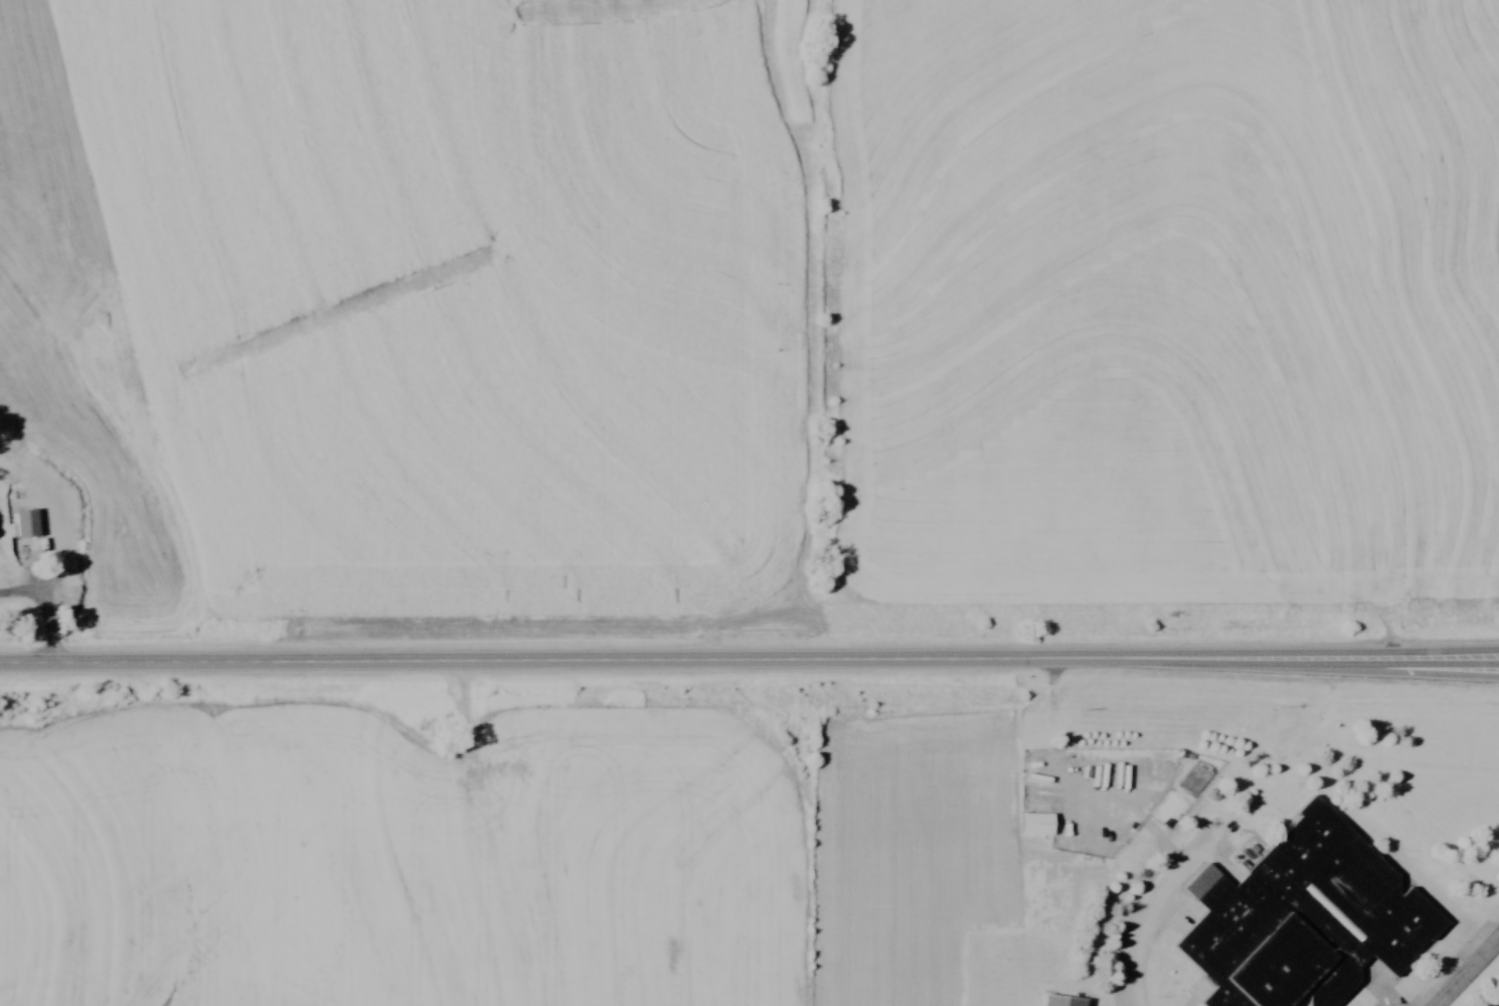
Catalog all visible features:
building: (27, 524)
road: (749, 662)
building: (1038, 823)
road: (1169, 880)
building: (1307, 919)
road: (1469, 973)

